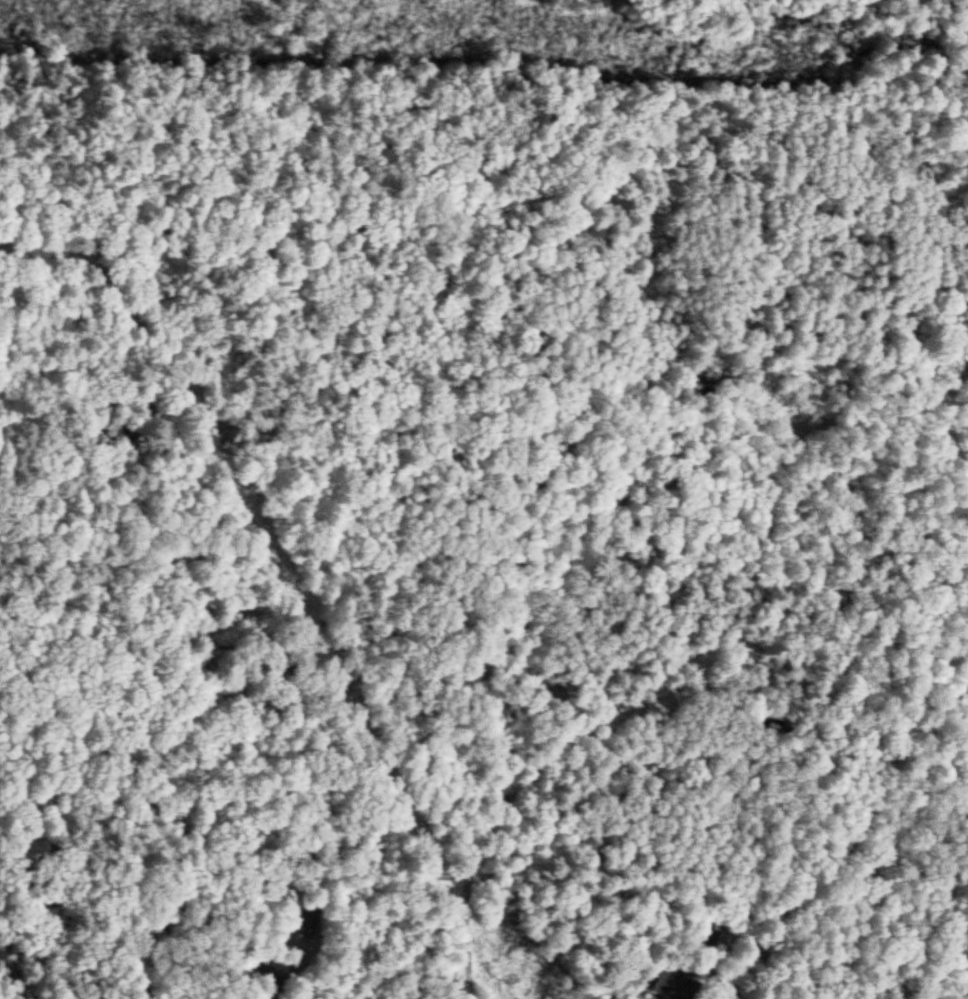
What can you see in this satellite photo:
road: (167, 365)
building: (134, 405)
road: (661, 422)
road: (954, 443)
road: (635, 703)
road: (863, 796)
road: (900, 839)
building: (306, 915)
road: (459, 940)
building: (673, 982)

